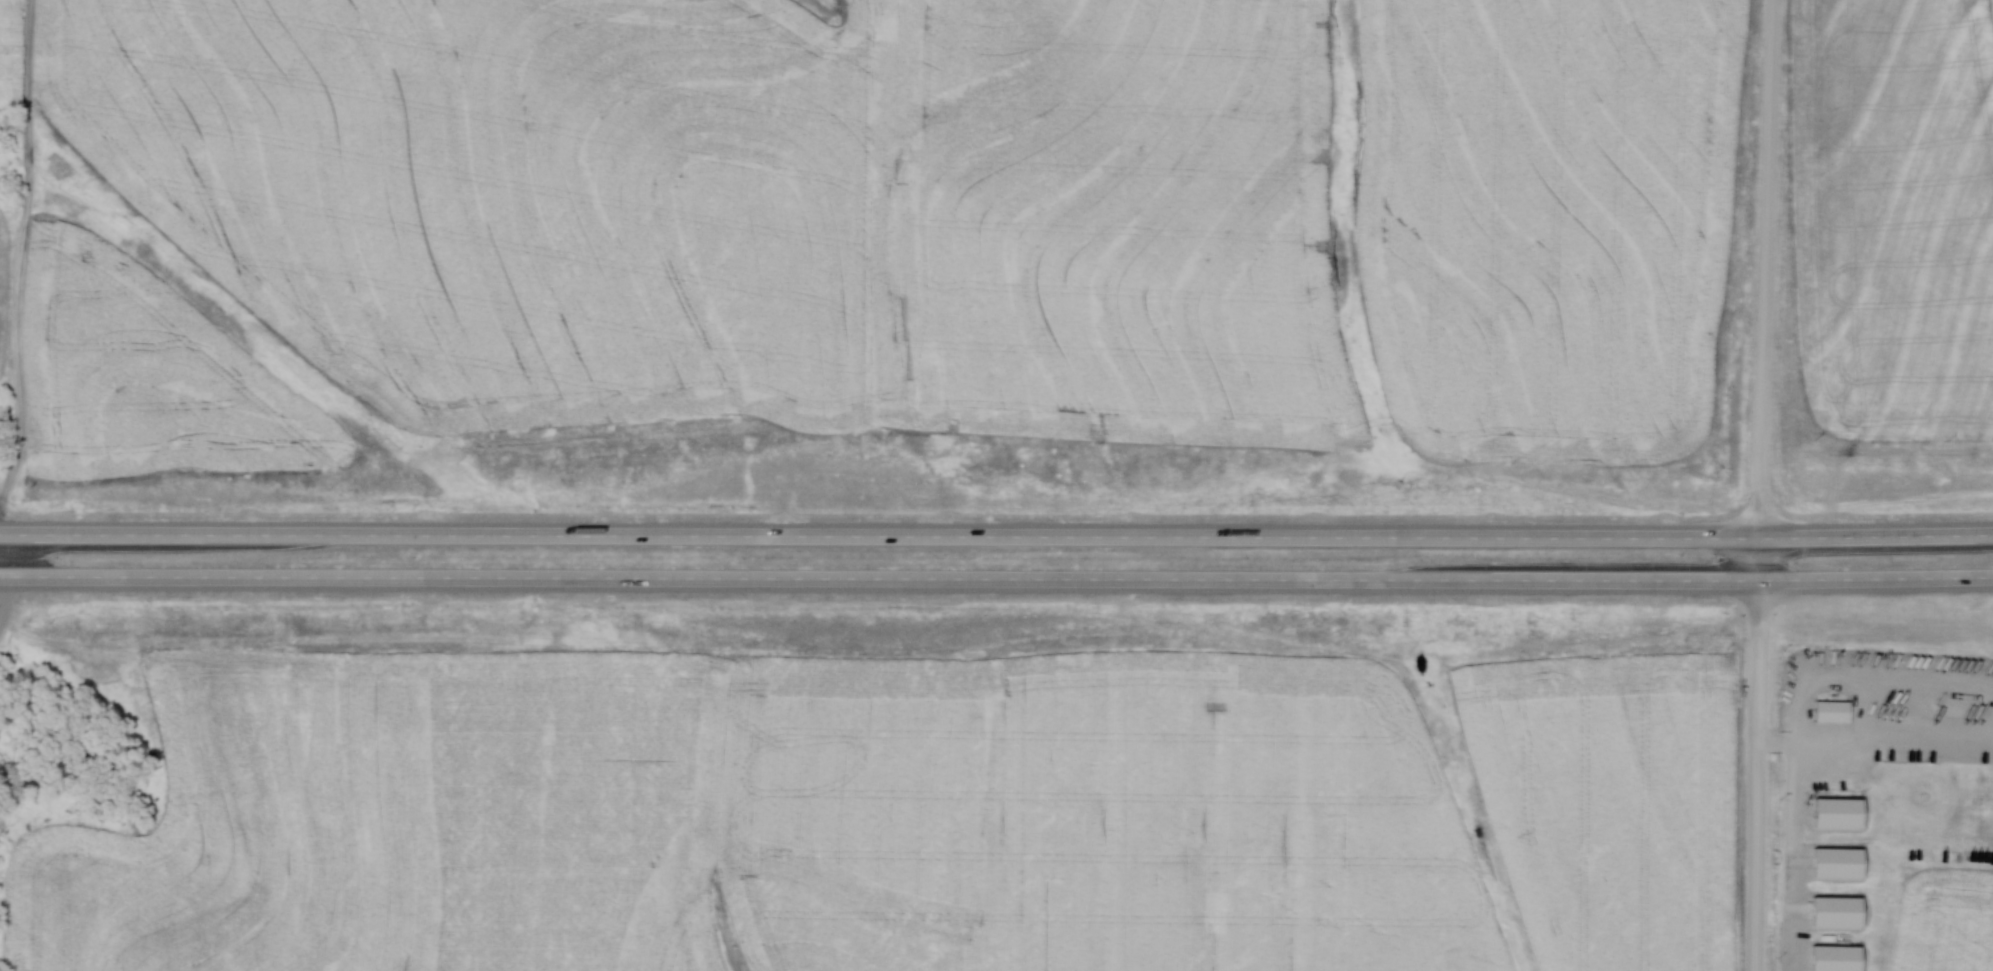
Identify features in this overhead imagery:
road: (1763, 485)
road: (996, 536)
road: (3, 586)
road: (996, 587)
building: (1836, 711)
road: (1811, 732)
road: (1877, 741)
building: (1843, 812)
building: (1841, 862)
building: (1840, 911)
building: (1840, 958)

